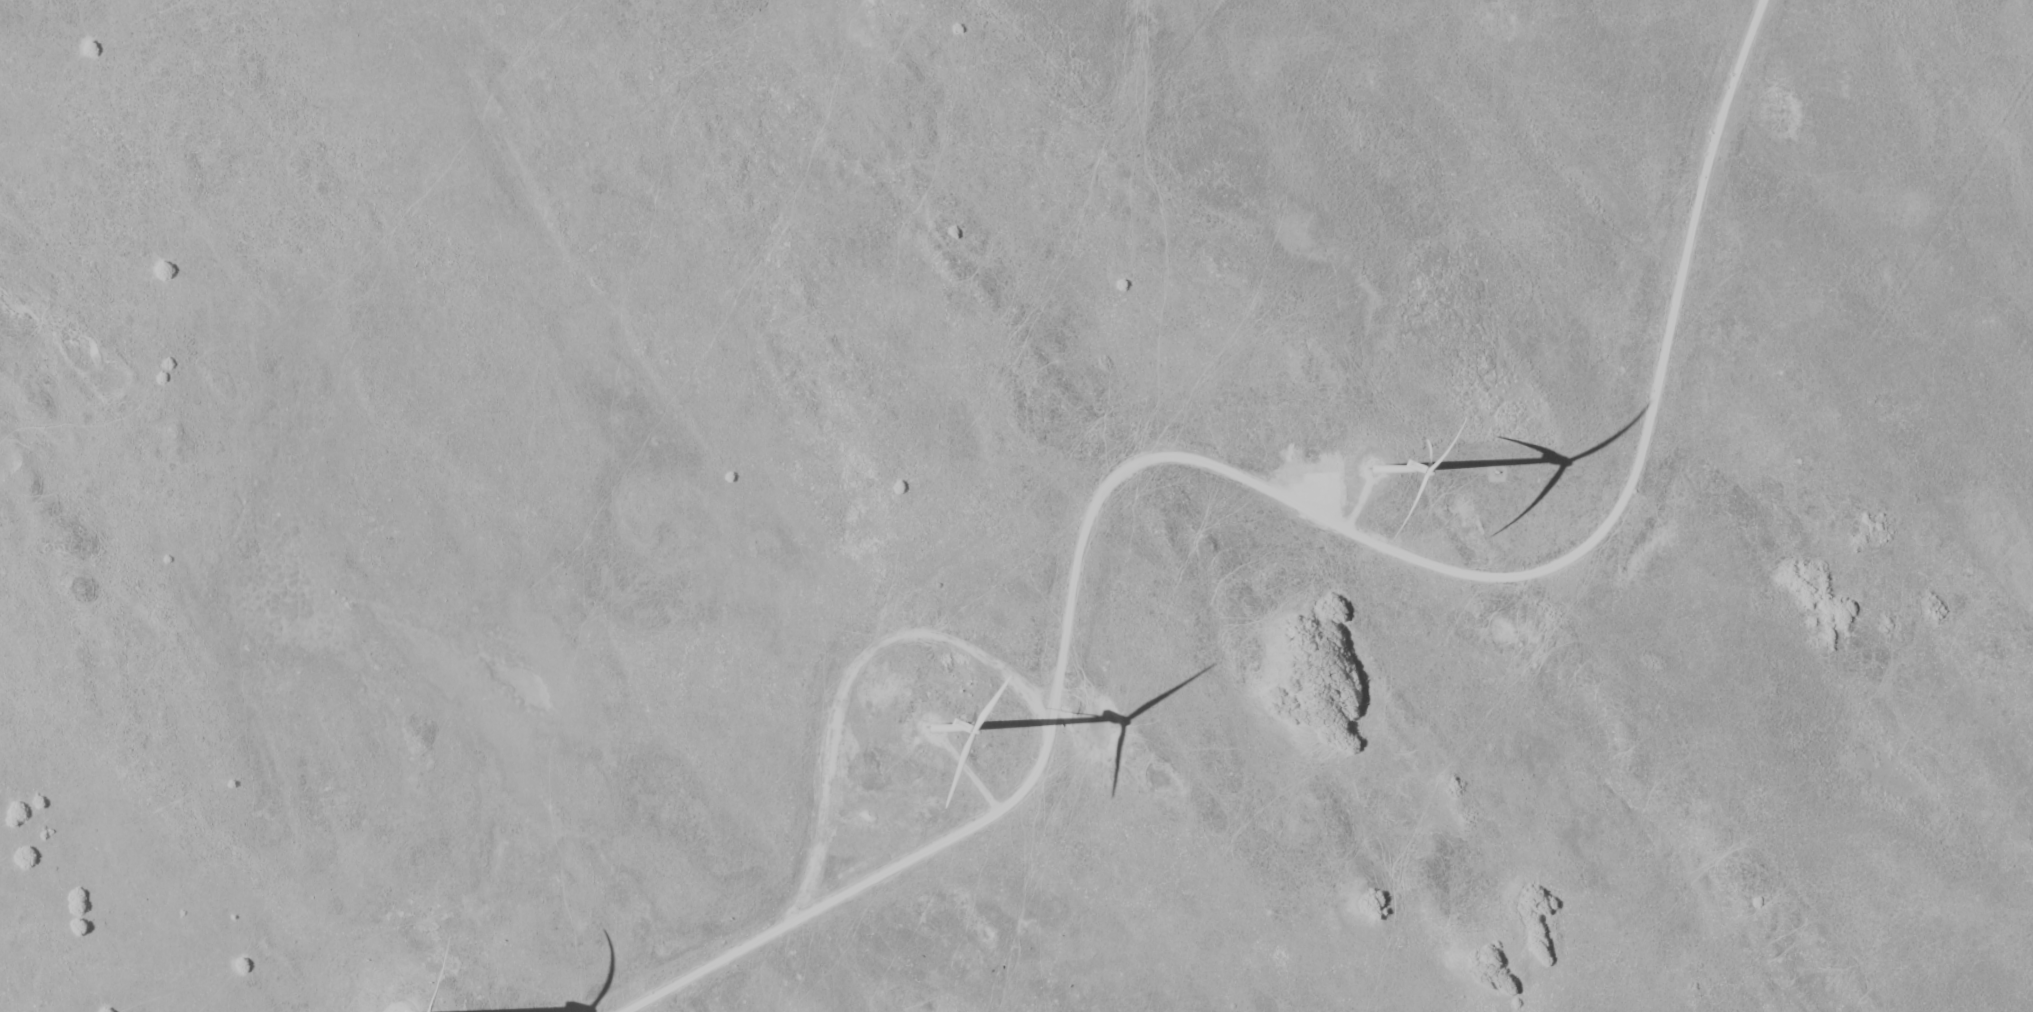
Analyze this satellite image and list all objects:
wind turbine: (1379, 471)
wind turbine: (939, 727)

